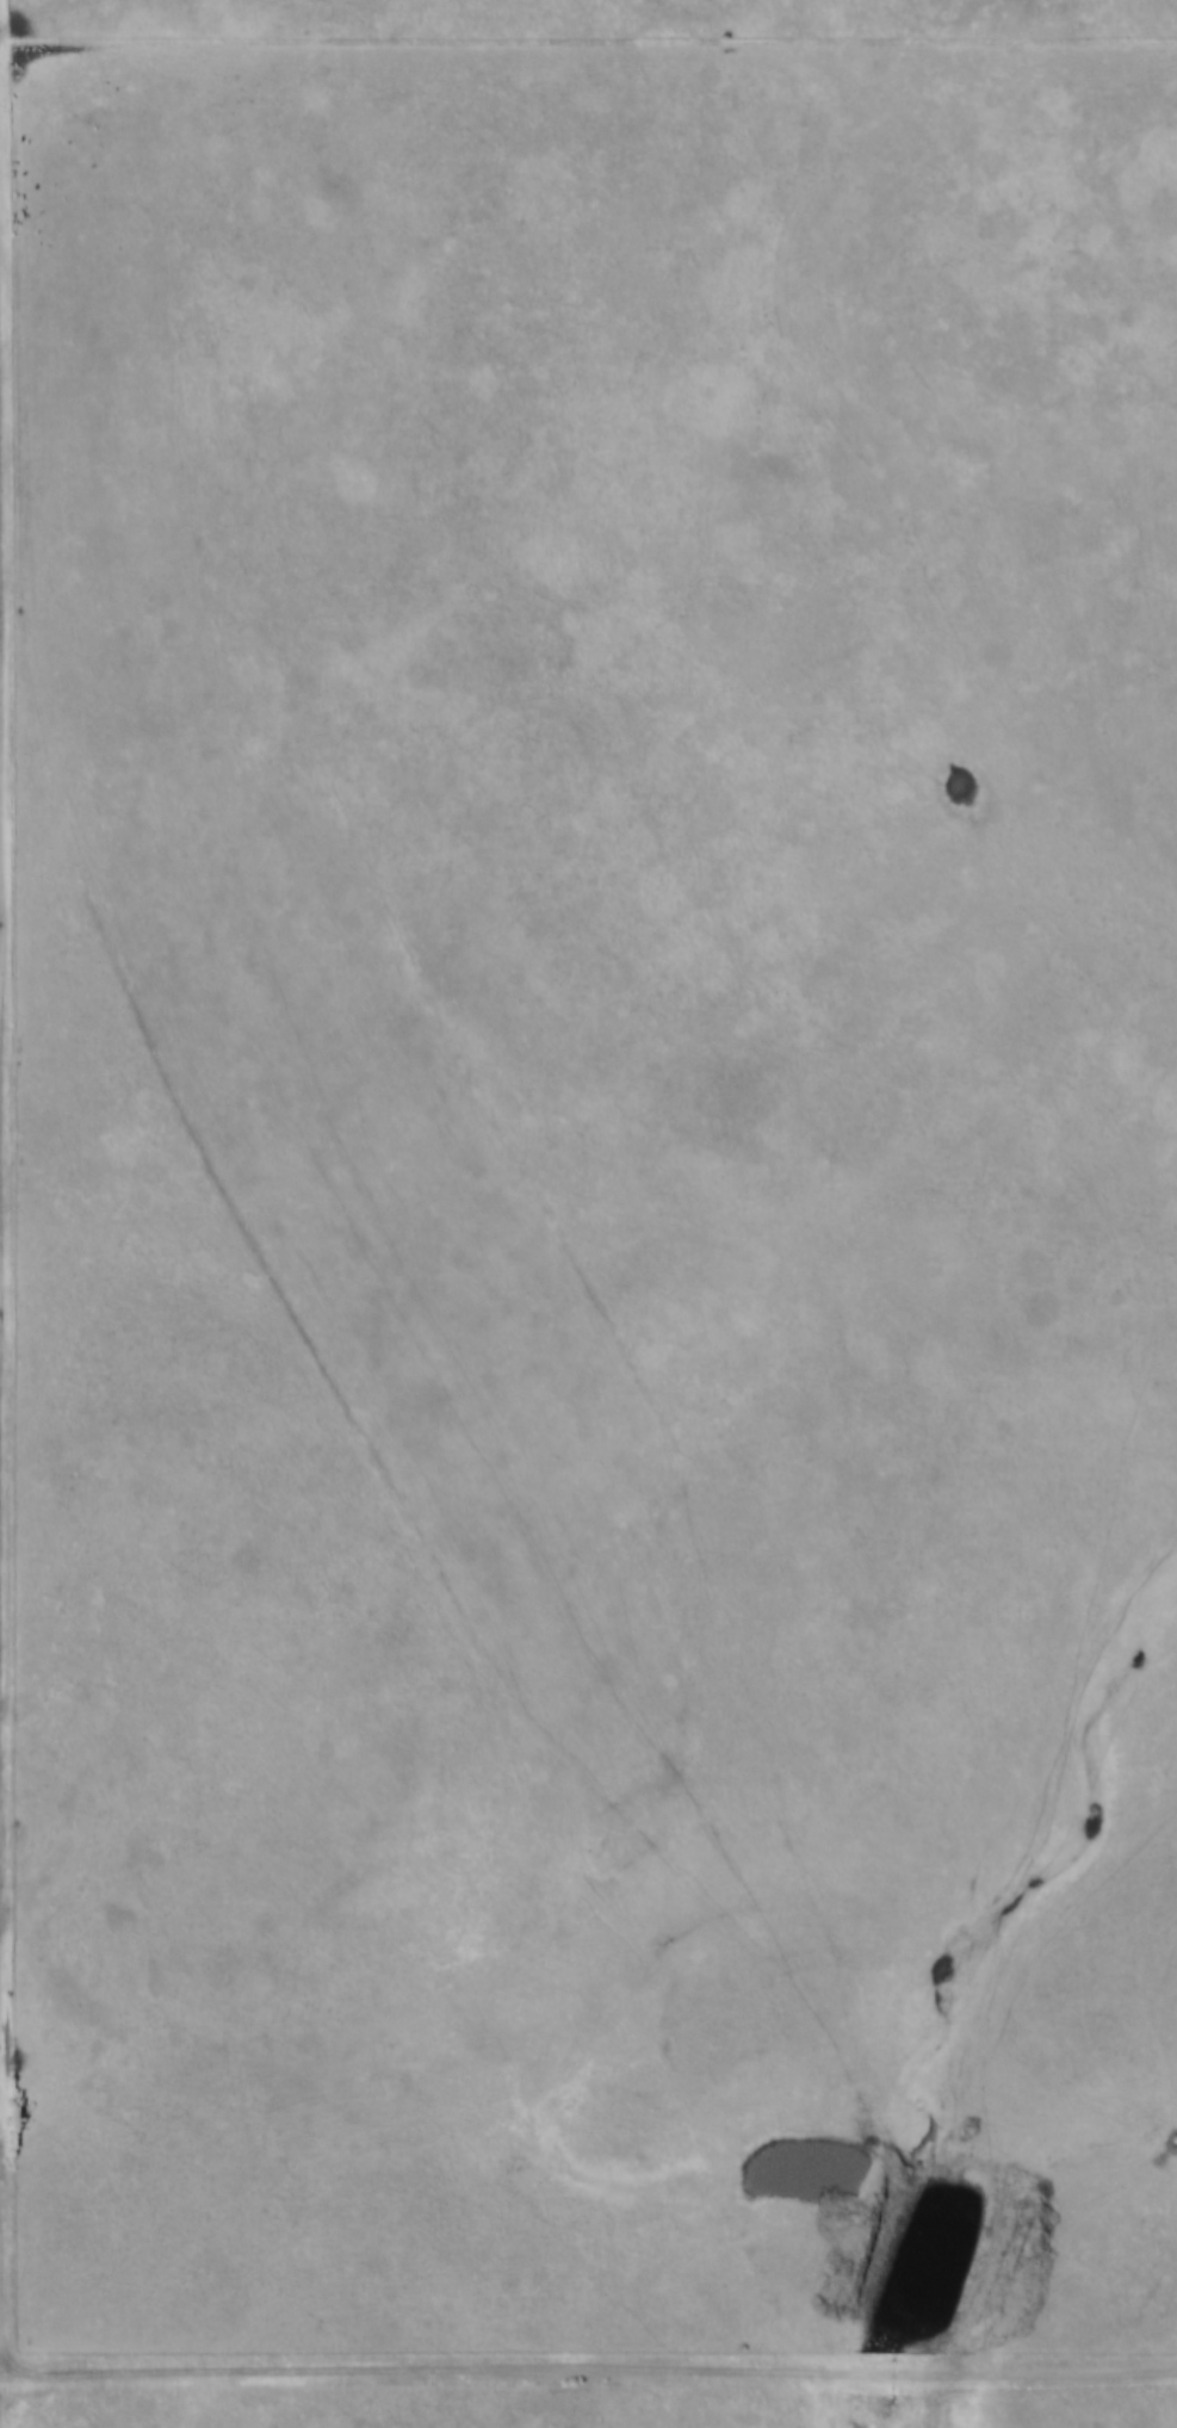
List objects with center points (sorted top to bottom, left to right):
road: (1, 1326)
road: (588, 2377)

